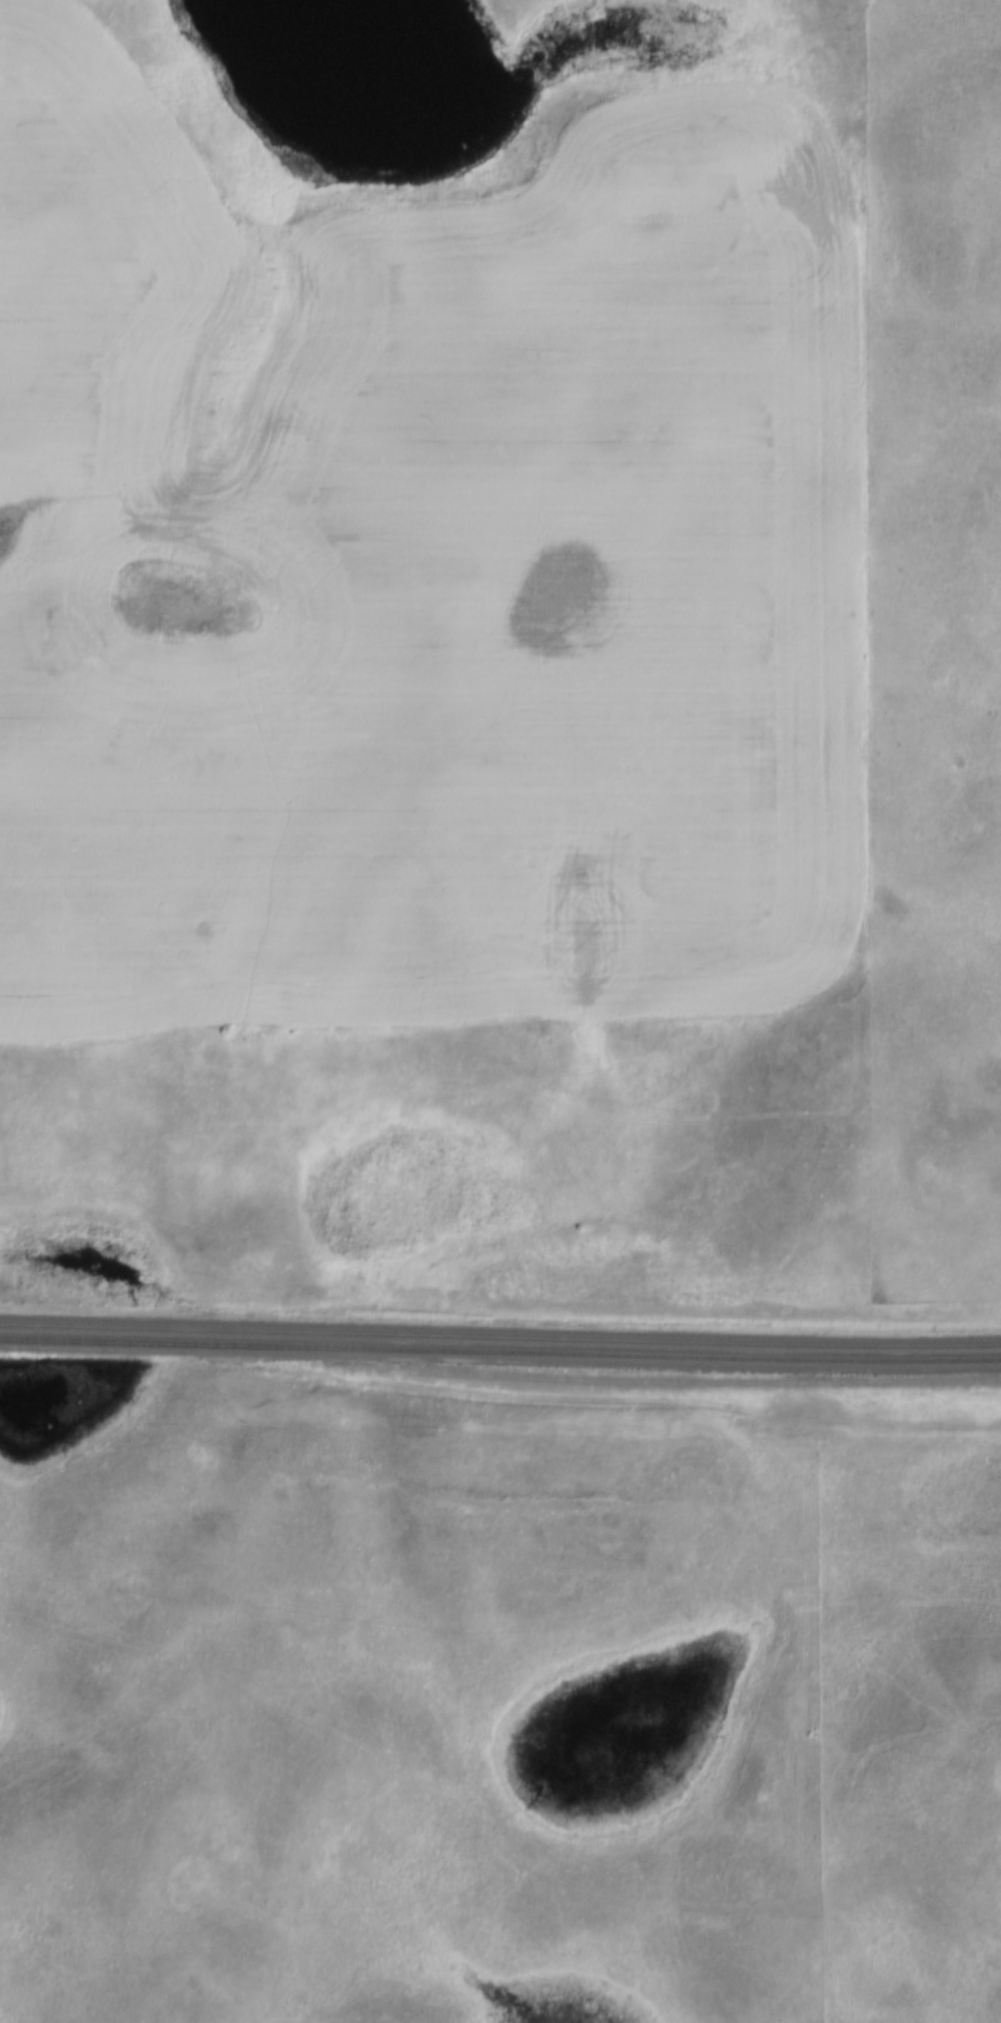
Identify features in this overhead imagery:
road: (812, 80)
railway: (500, 1330)
railway: (500, 1352)

